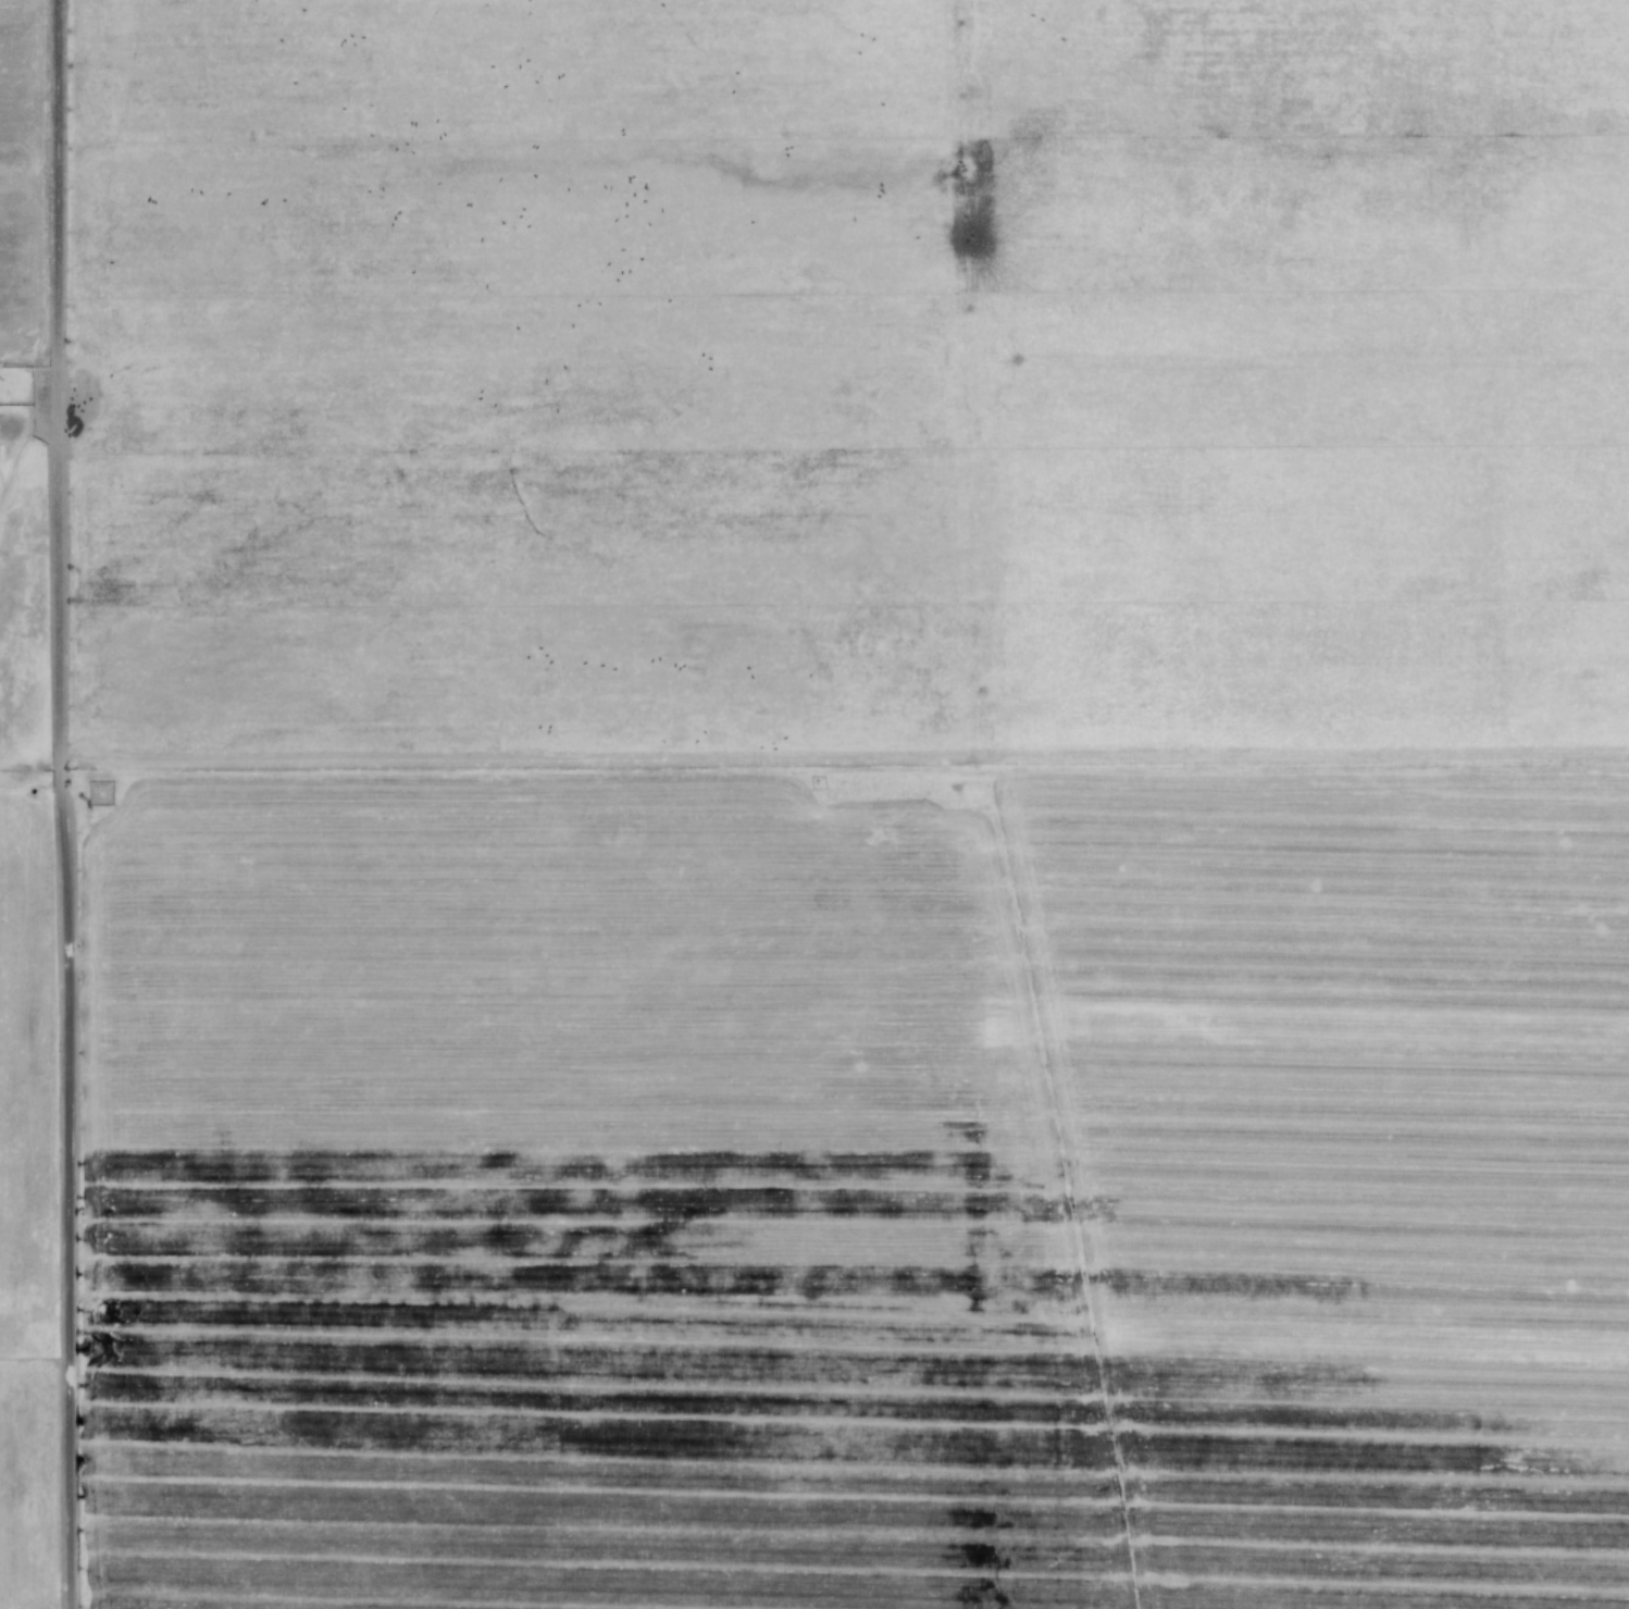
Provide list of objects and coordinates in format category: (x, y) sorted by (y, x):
road: (66, 804)

